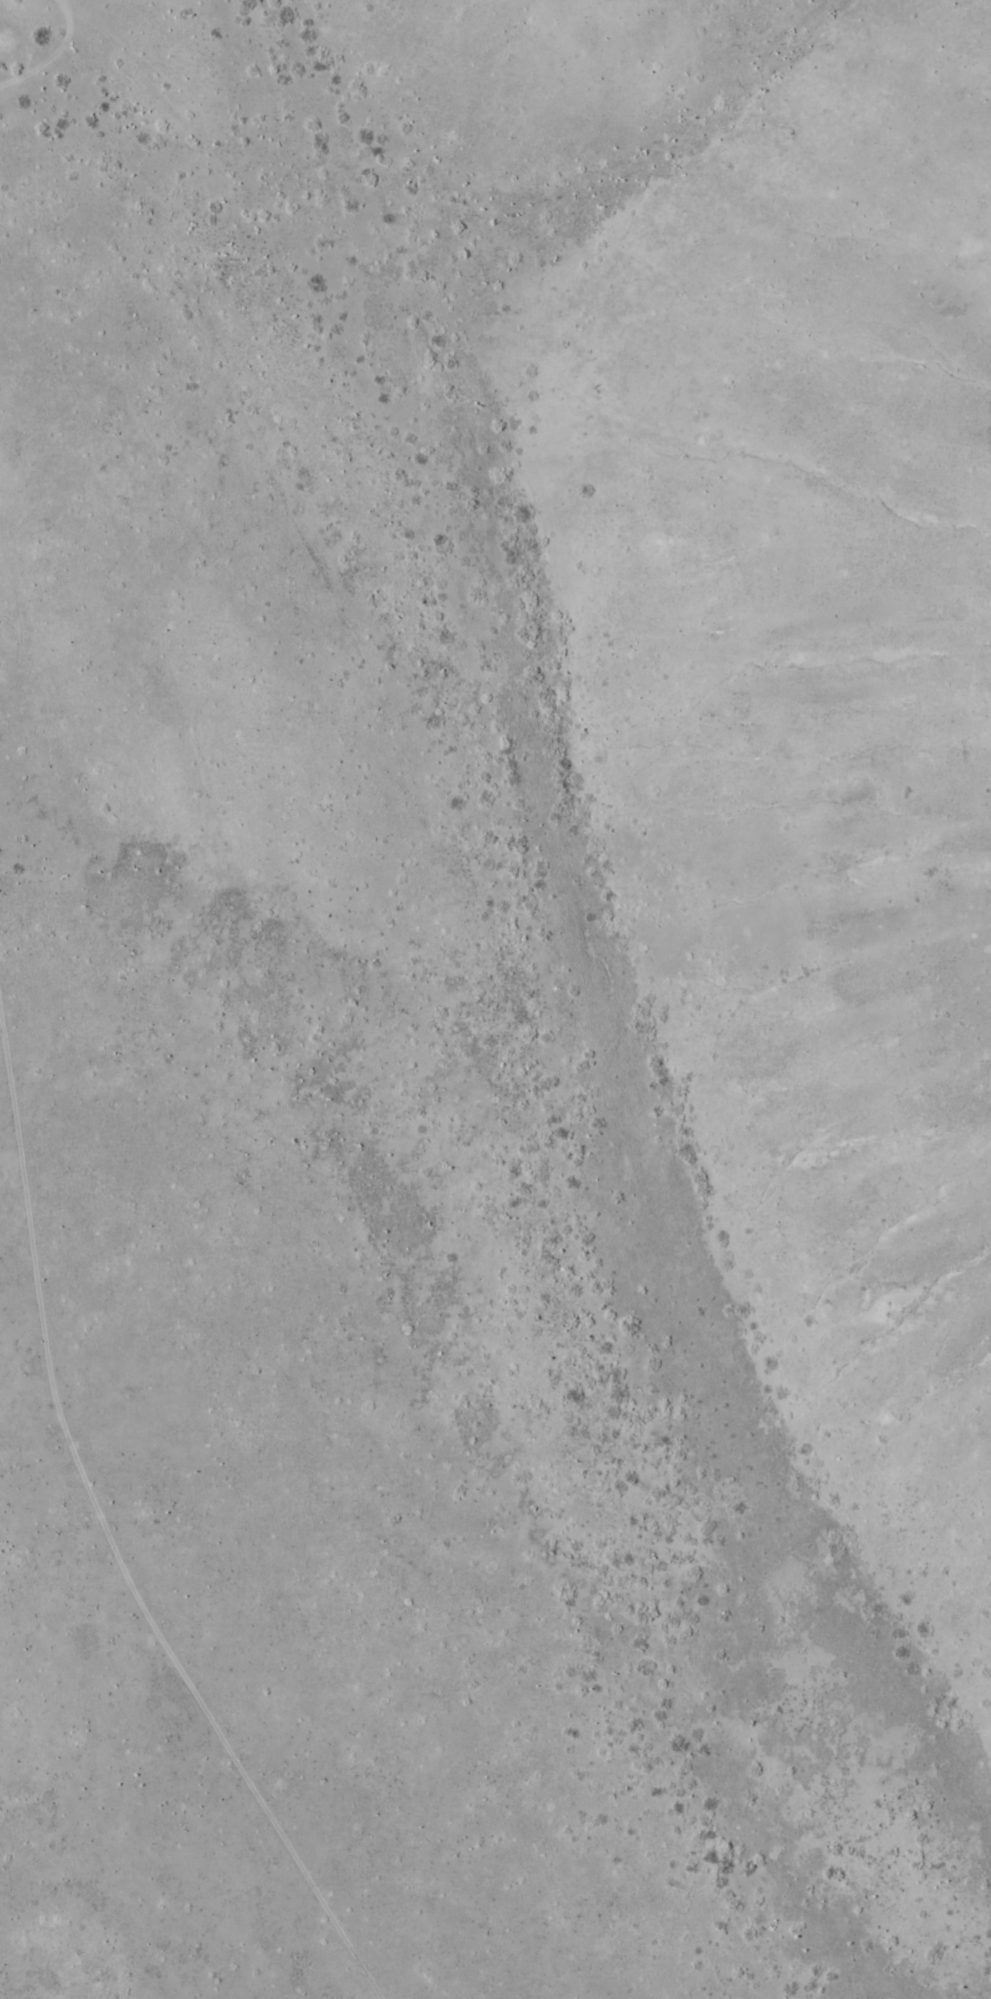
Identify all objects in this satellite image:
road: (35, 179)
road: (168, 1578)

